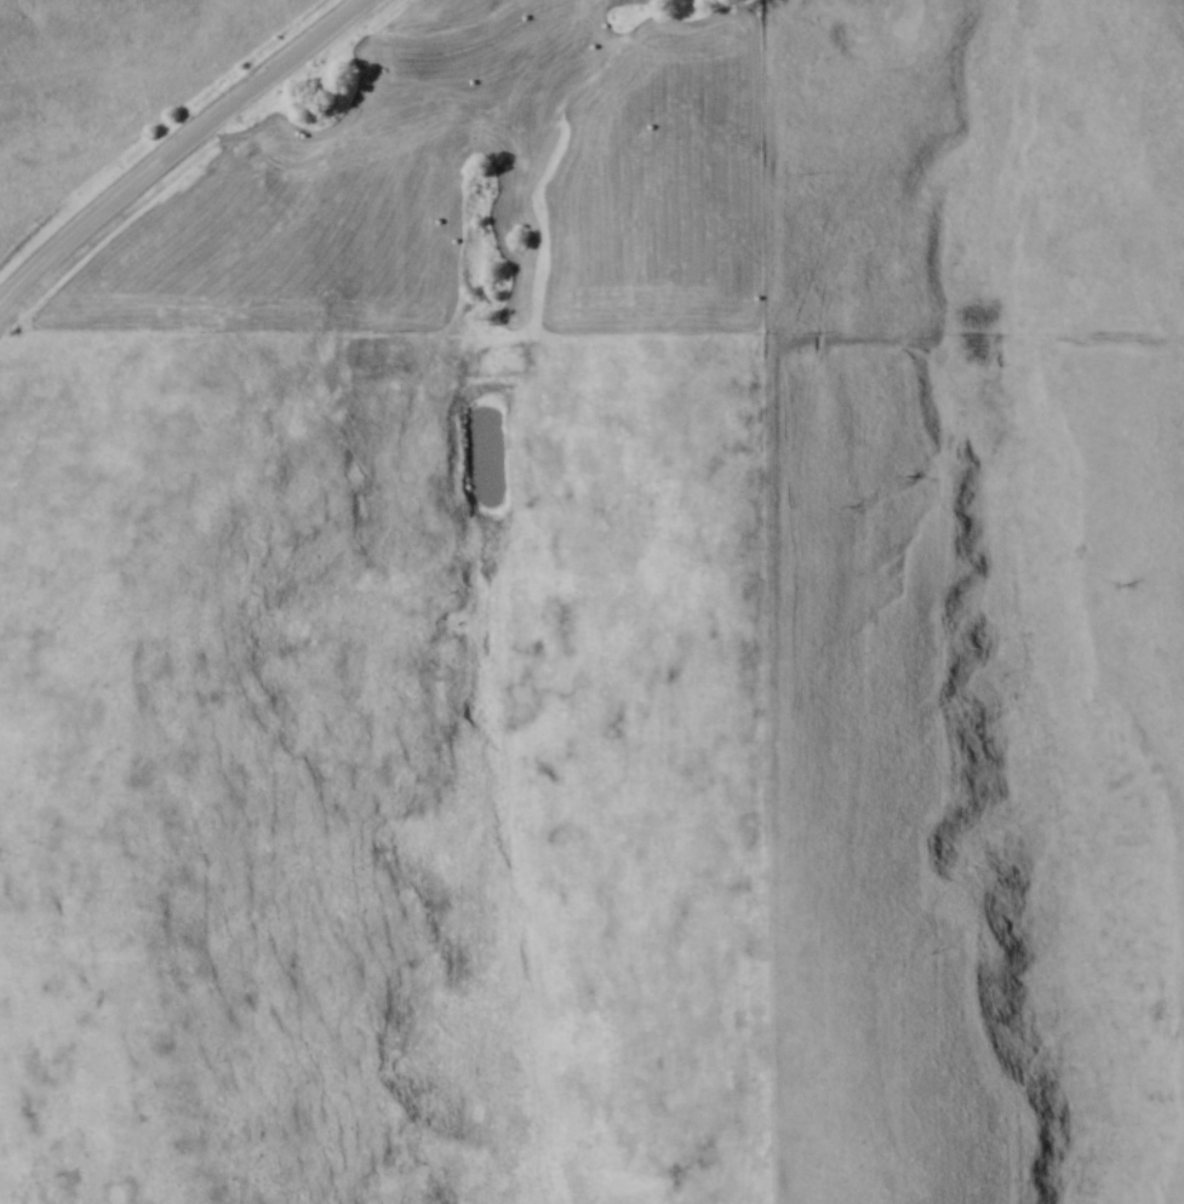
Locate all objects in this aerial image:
road: (176, 148)

